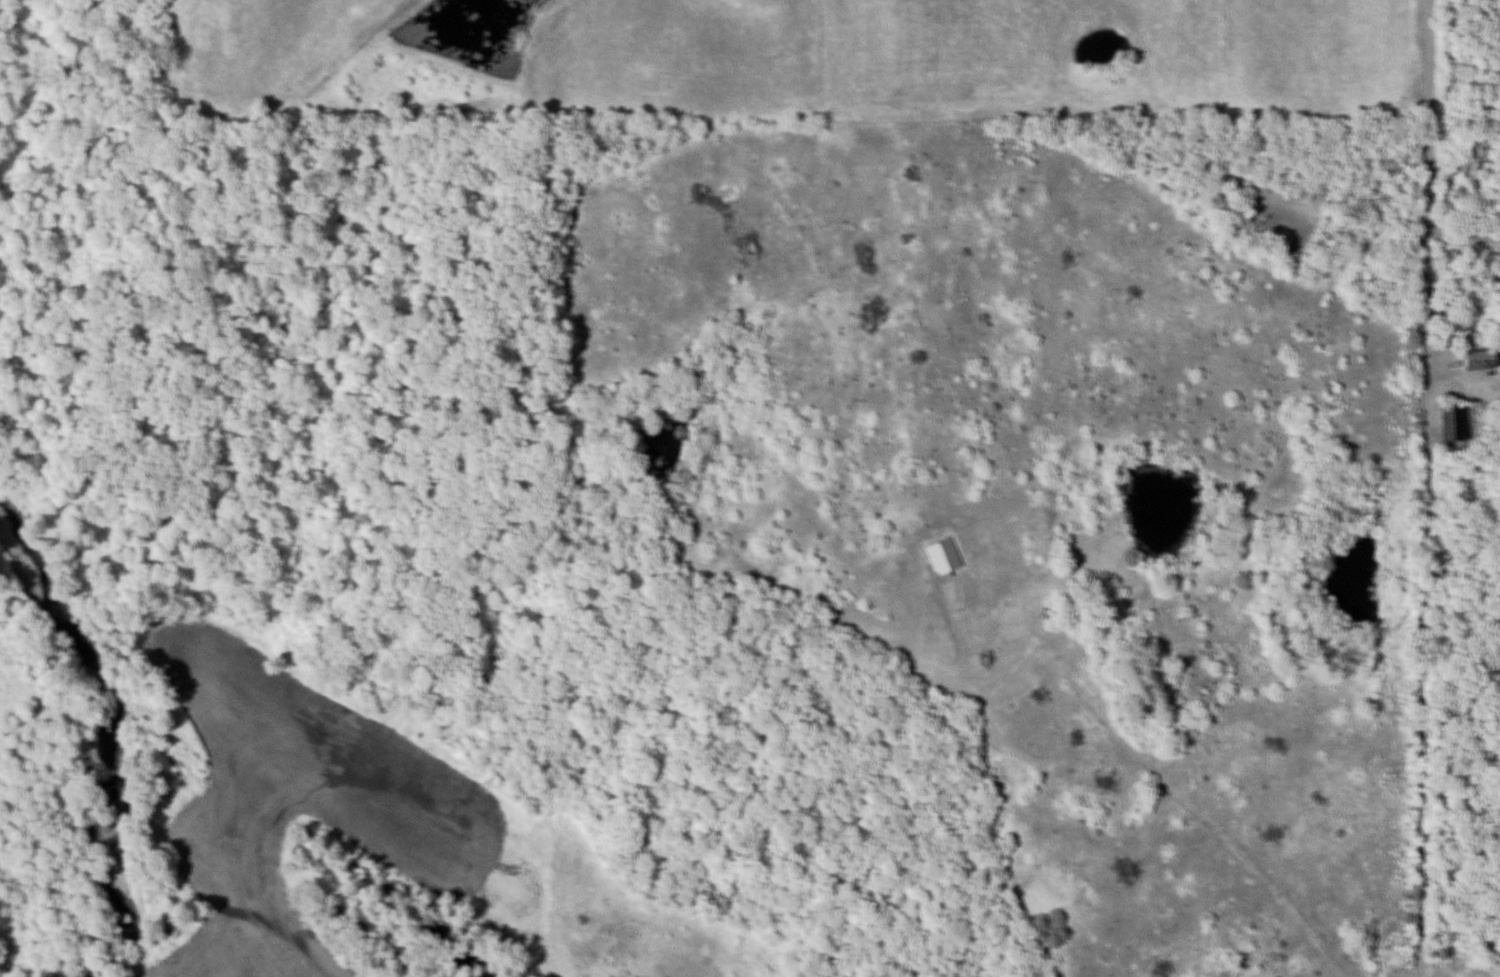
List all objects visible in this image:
building: (1472, 357)
road: (1414, 488)
building: (987, 628)

